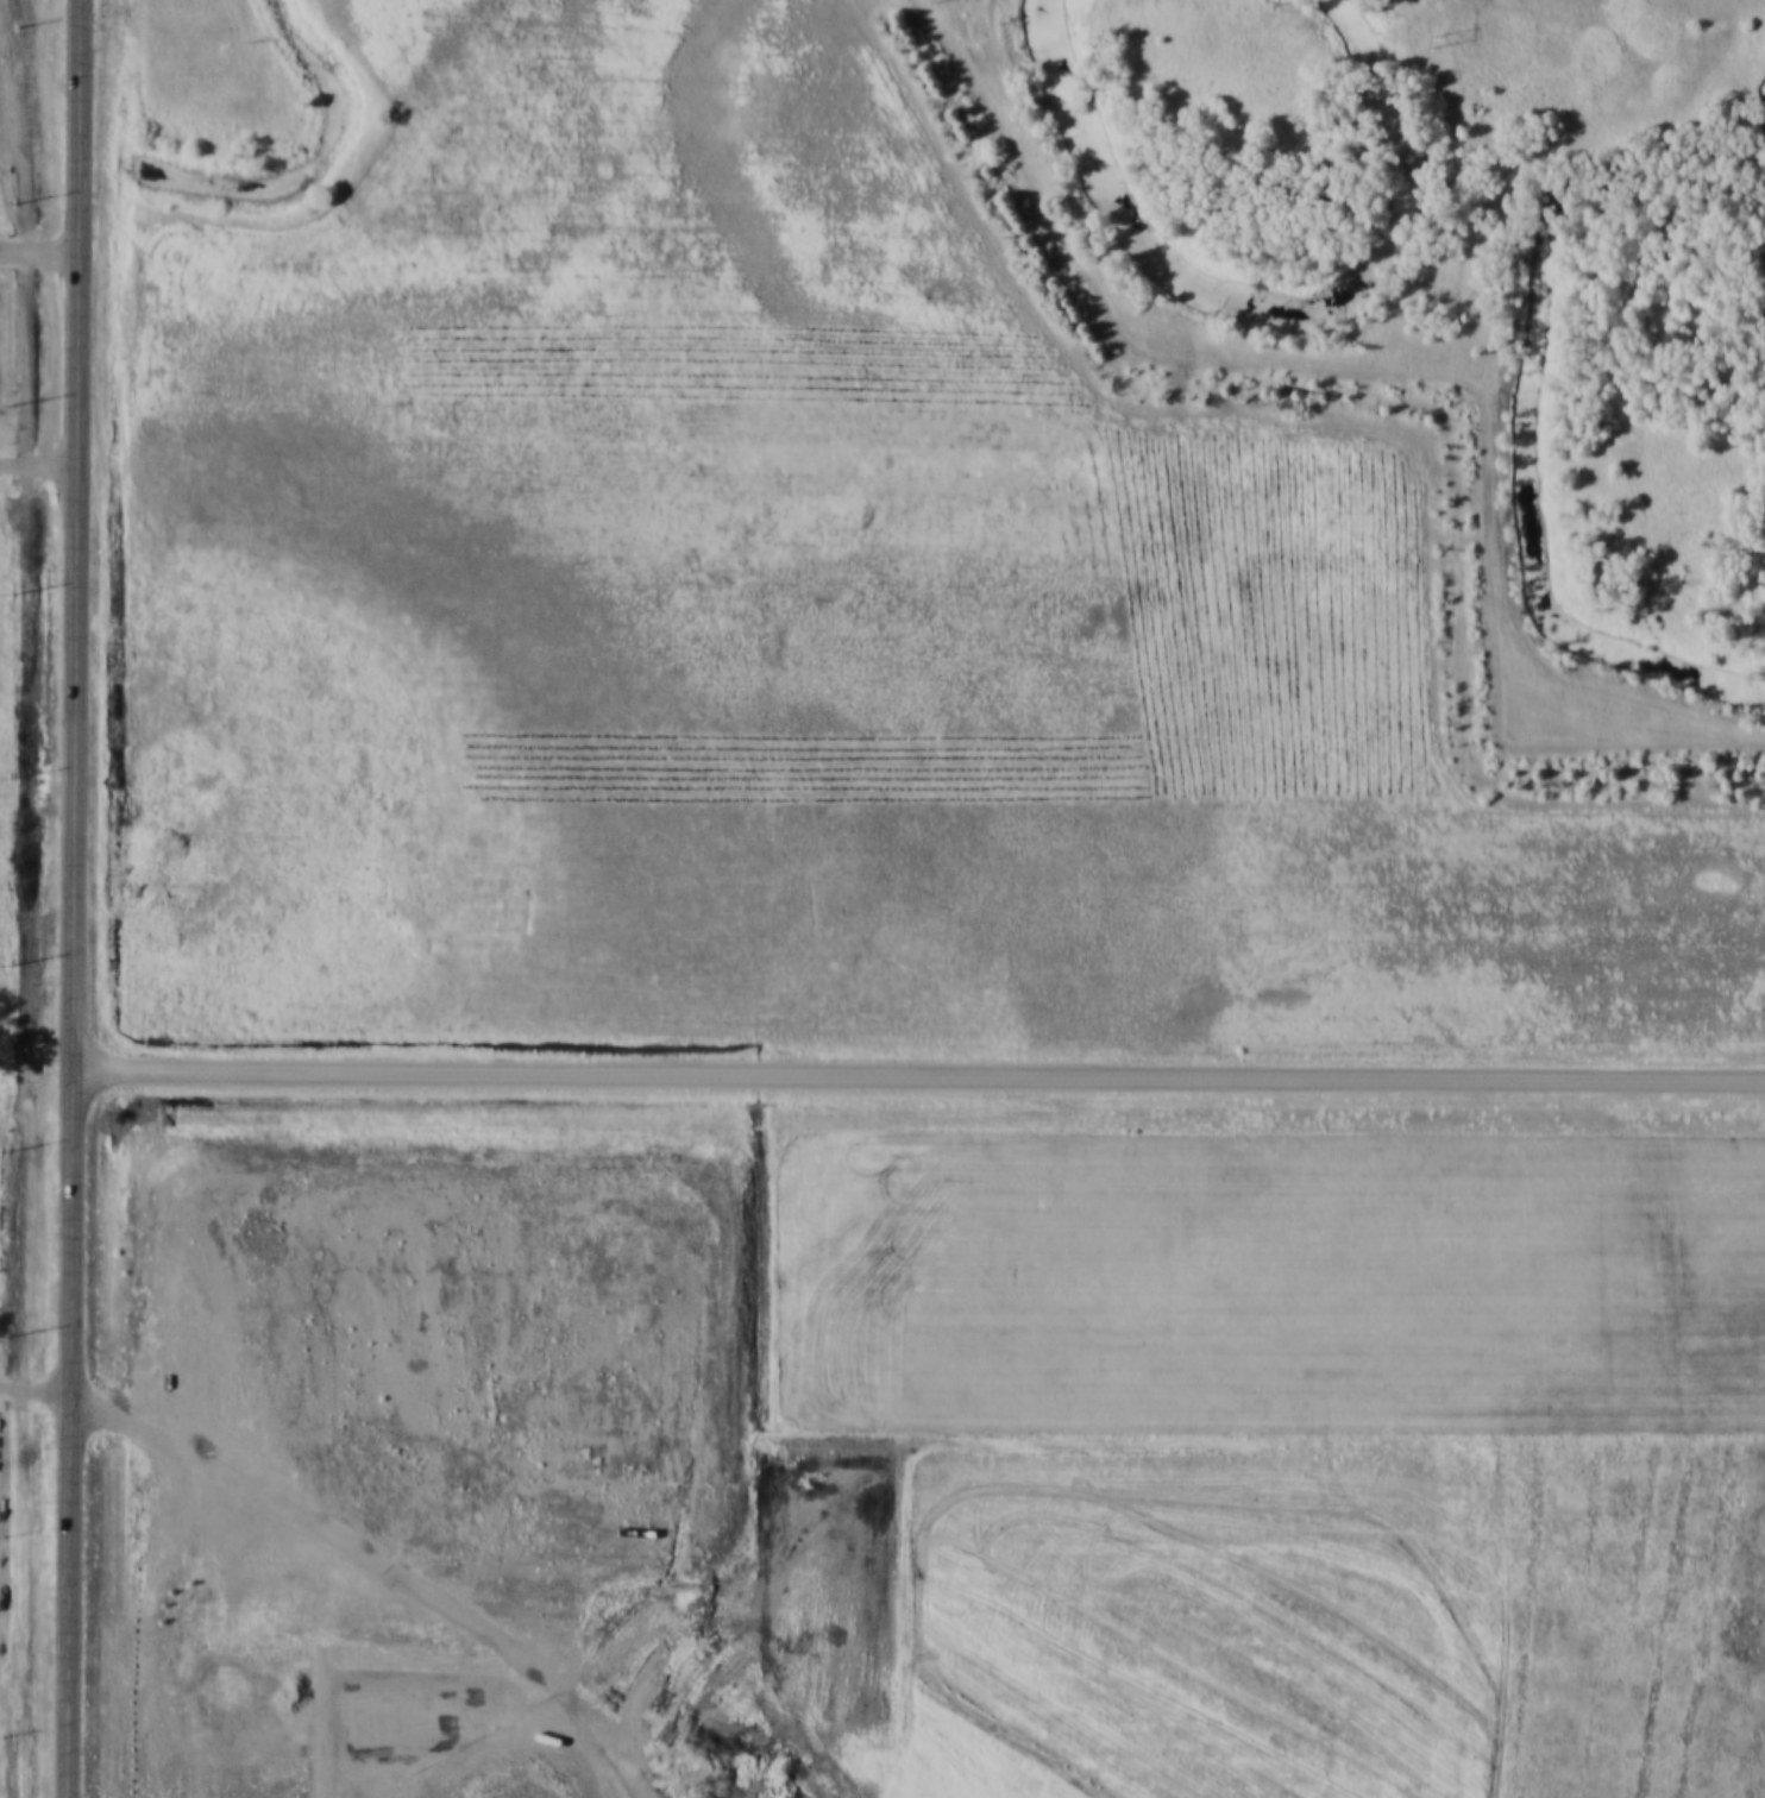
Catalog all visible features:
power tower: (1436, 39)
road: (37, 464)
road: (71, 898)
road: (918, 1073)
road: (33, 1398)

